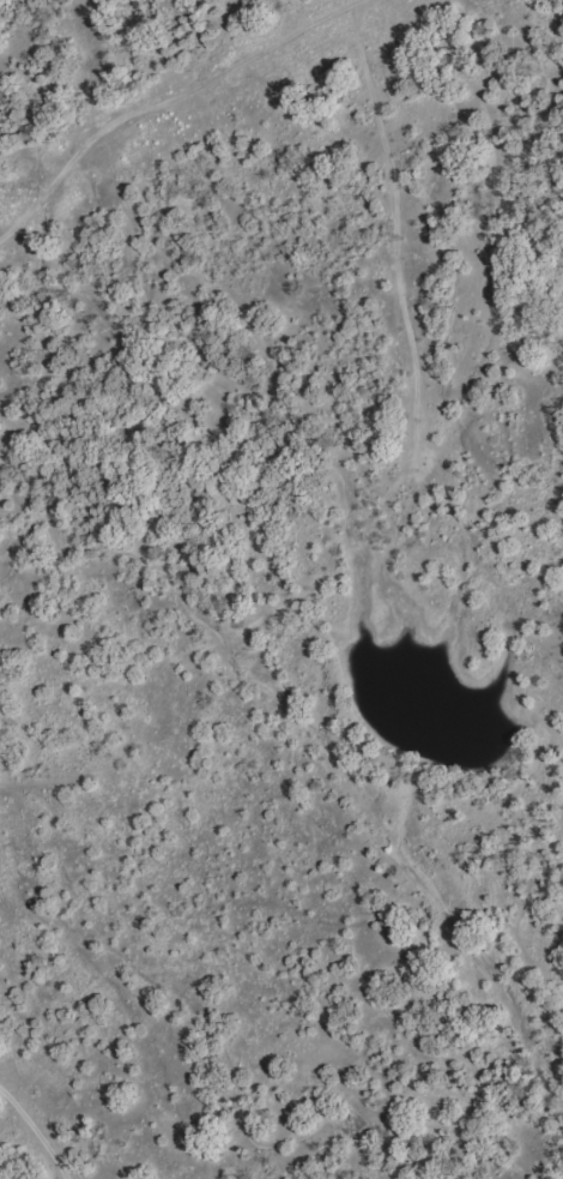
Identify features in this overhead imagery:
road: (436, 528)
road: (37, 1136)

